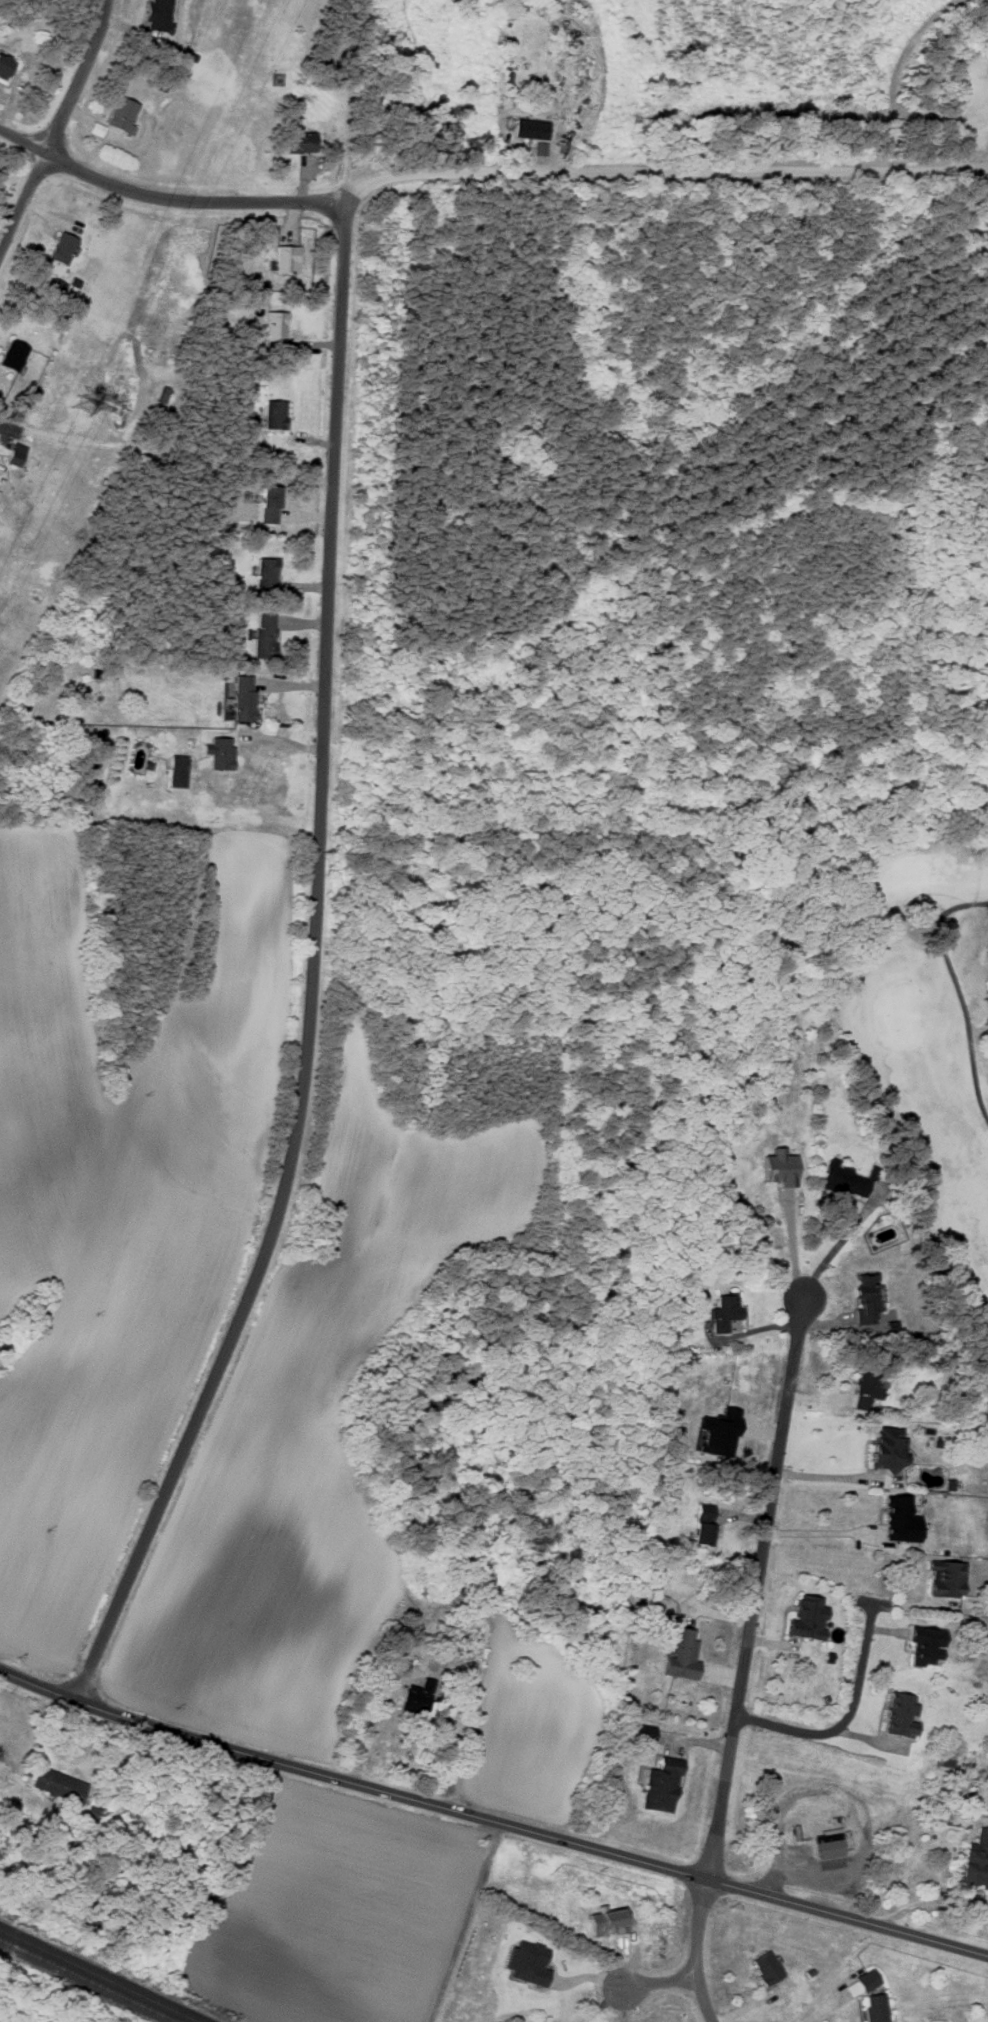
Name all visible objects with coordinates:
building: (155, 15)
road: (899, 58)
building: (4, 65)
building: (123, 115)
road: (56, 124)
building: (532, 129)
building: (298, 143)
building: (541, 148)
road: (987, 167)
road: (661, 168)
road: (166, 195)
building: (60, 249)
building: (285, 260)
building: (274, 326)
building: (12, 356)
power tower: (82, 404)
building: (273, 414)
building: (14, 454)
building: (267, 504)
building: (265, 574)
building: (262, 636)
building: (242, 699)
building: (218, 753)
building: (179, 771)
road: (306, 972)
park: (917, 1027)
building: (780, 1165)
building: (850, 1183)
road: (838, 1244)
road: (791, 1246)
building: (865, 1299)
building: (727, 1313)
building: (864, 1390)
building: (721, 1432)
building: (887, 1449)
road: (837, 1477)
building: (899, 1520)
building: (701, 1531)
road: (819, 1532)
building: (944, 1578)
building: (806, 1617)
building: (924, 1646)
building: (680, 1655)
road: (743, 1661)
building: (416, 1697)
building: (899, 1714)
road: (844, 1717)
road: (68, 1756)
building: (57, 1786)
building: (659, 1787)
road: (491, 1819)
road: (863, 1821)
building: (827, 1843)
building: (974, 1857)
building: (528, 1963)
building: (764, 1967)
building: (865, 1971)
railway: (98, 1976)
building: (867, 1980)
railway: (85, 1982)
road: (654, 1984)
road: (601, 2005)
building: (875, 2007)
road: (822, 2011)

